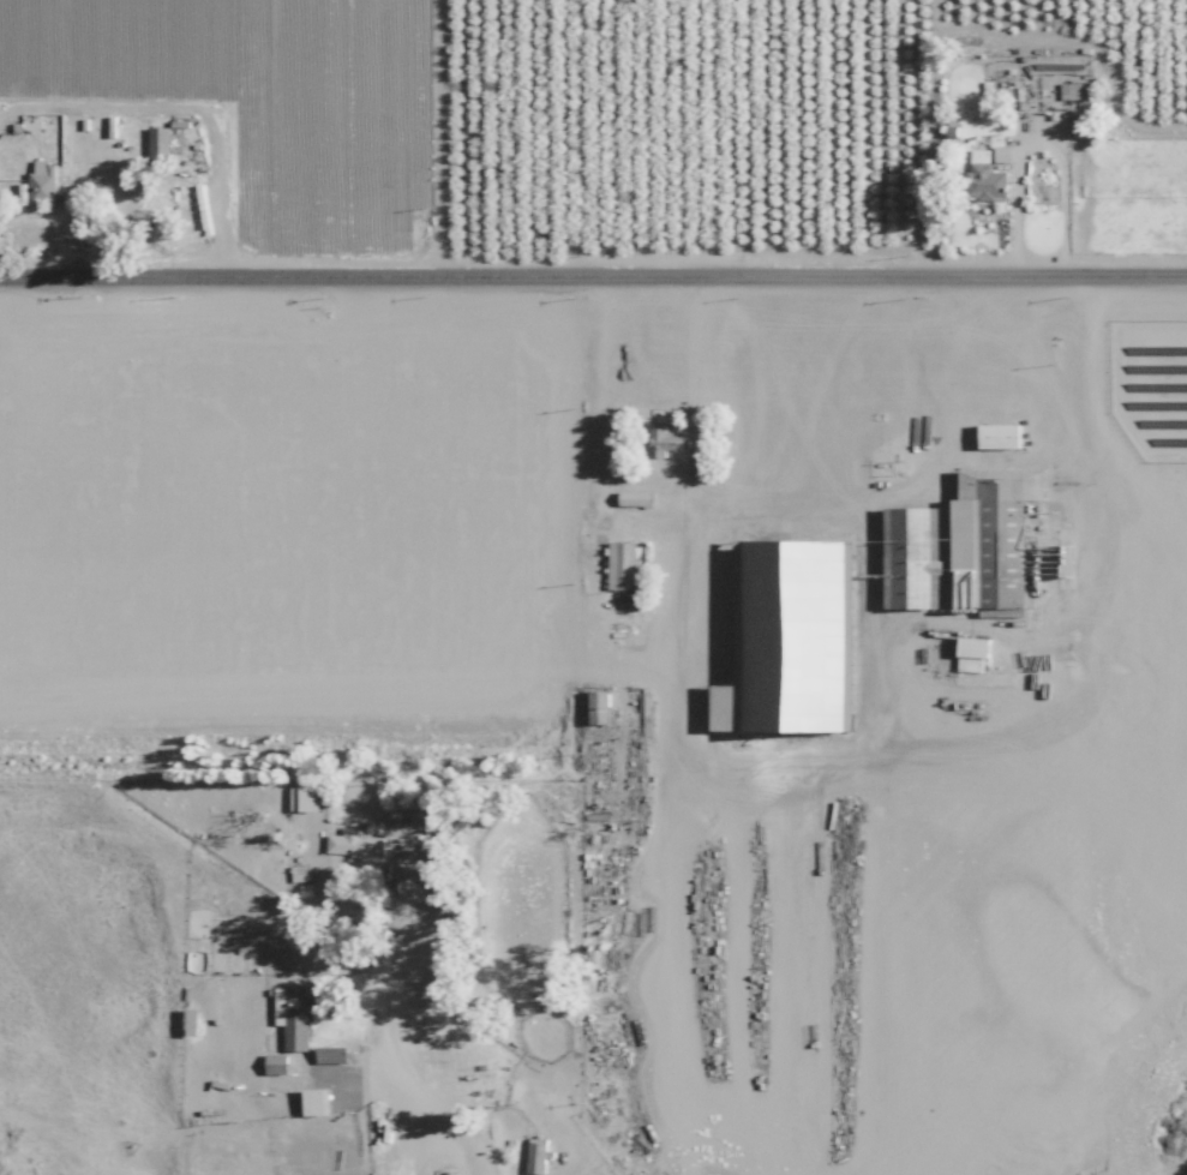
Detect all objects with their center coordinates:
building: (1068, 90)
building: (158, 142)
road: (1041, 142)
crop: (224, 145)
building: (1001, 154)
building: (984, 176)
building: (41, 182)
building: (131, 182)
road: (593, 276)
building: (999, 436)
building: (663, 439)
road: (691, 499)
building: (987, 542)
building: (911, 557)
building: (619, 563)
building: (971, 652)
building: (598, 707)
building: (306, 798)
building: (354, 845)
building: (293, 1014)
building: (275, 1063)
road: (424, 1080)
building: (313, 1102)
building: (535, 1156)

